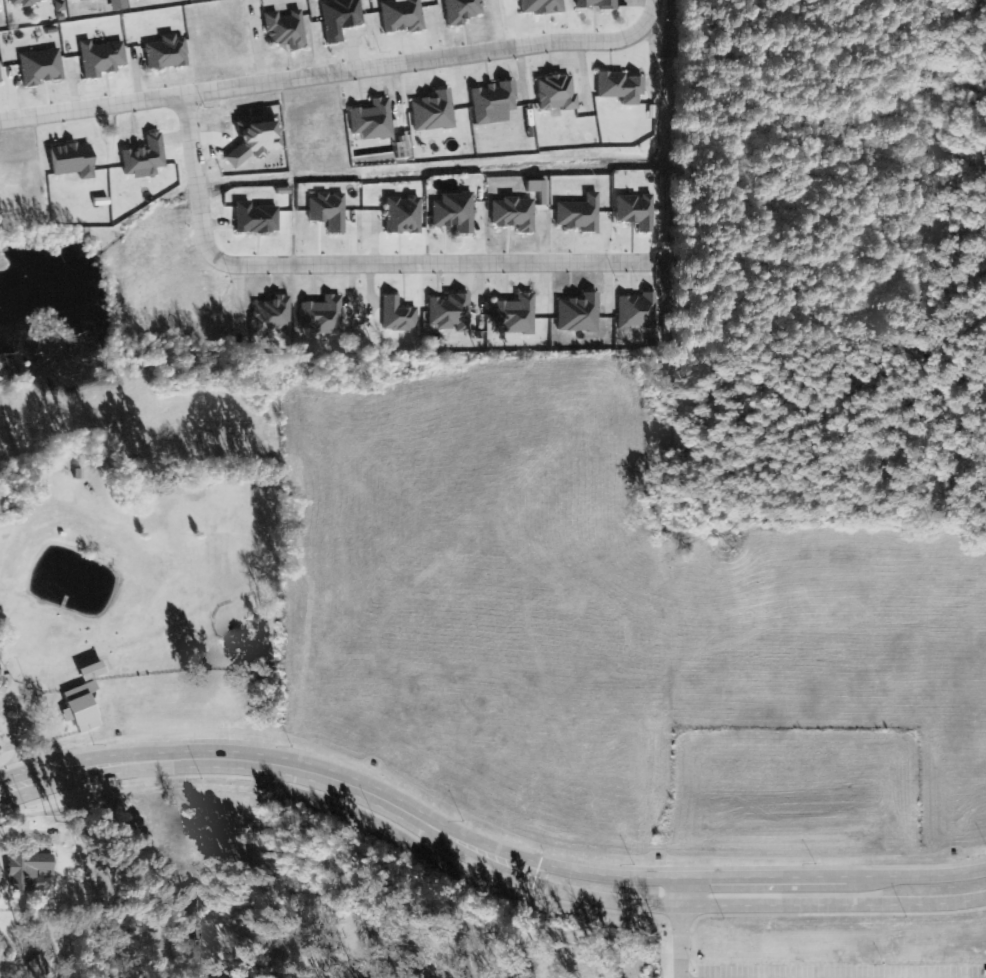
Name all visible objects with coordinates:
building: (76, 0)
building: (28, 2)
building: (599, 4)
building: (118, 5)
building: (542, 7)
building: (463, 10)
road: (648, 13)
building: (402, 15)
building: (341, 18)
building: (285, 30)
building: (167, 53)
building: (101, 58)
building: (40, 67)
road: (321, 72)
building: (0, 79)
building: (622, 87)
building: (556, 93)
building: (493, 103)
building: (433, 112)
building: (373, 120)
building: (256, 143)
building: (145, 158)
building: (74, 160)
building: (539, 190)
building: (329, 211)
building: (455, 212)
building: (638, 212)
building: (514, 214)
building: (579, 214)
building: (404, 215)
building: (256, 219)
road: (353, 261)
building: (640, 311)
building: (451, 313)
building: (579, 314)
building: (399, 315)
building: (516, 315)
building: (272, 316)
building: (323, 316)
building: (93, 672)
building: (83, 707)
road: (484, 843)
road: (483, 864)
building: (29, 871)
road: (675, 927)
building: (44, 967)
parking lot: (842, 970)

